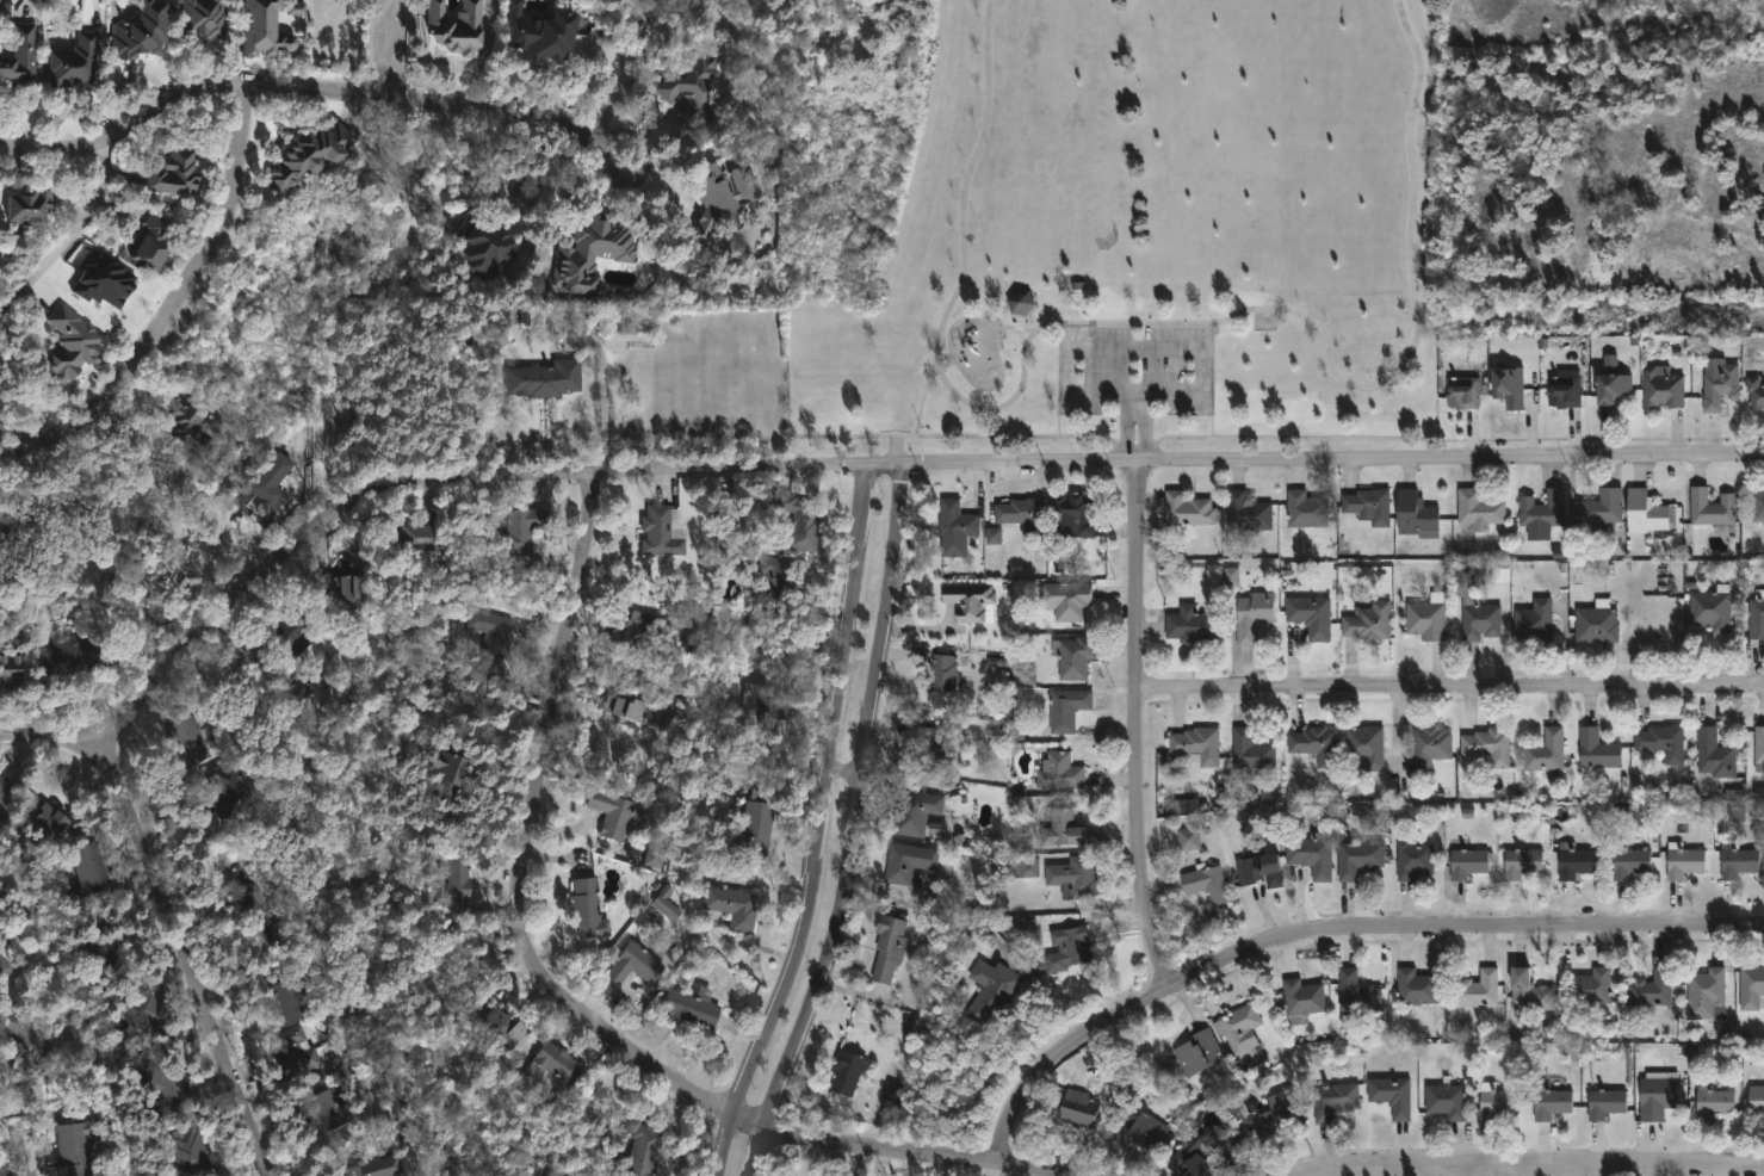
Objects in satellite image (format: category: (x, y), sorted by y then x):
building: (296, 8)
building: (212, 18)
building: (462, 25)
building: (271, 27)
building: (149, 31)
building: (545, 31)
road: (385, 45)
building: (26, 55)
building: (83, 61)
building: (691, 75)
road: (437, 95)
building: (698, 112)
road: (126, 118)
building: (317, 153)
road: (651, 168)
building: (184, 172)
building: (717, 194)
building: (41, 204)
park: (1149, 230)
road: (81, 234)
building: (162, 241)
building: (493, 245)
building: (599, 248)
building: (104, 280)
building: (1017, 302)
road: (182, 304)
road: (1157, 326)
building: (80, 342)
parking lot: (1135, 369)
building: (550, 379)
building: (1506, 386)
building: (1719, 386)
building: (1661, 388)
building: (1609, 389)
building: (1561, 390)
road: (1134, 392)
building: (1461, 392)
building: (1754, 394)
road: (606, 397)
building: (197, 423)
road: (836, 463)
building: (267, 489)
building: (1367, 506)
building: (1710, 508)
building: (1757, 508)
building: (1599, 509)
building: (1304, 510)
building: (1477, 510)
building: (1541, 510)
building: (1186, 512)
building: (1071, 513)
building: (1245, 513)
building: (1646, 513)
building: (1415, 515)
building: (797, 516)
building: (1021, 516)
building: (524, 527)
building: (953, 530)
building: (663, 532)
building: (994, 537)
building: (416, 539)
building: (1231, 577)
building: (770, 584)
building: (348, 587)
building: (1067, 601)
building: (968, 604)
building: (1473, 606)
building: (1709, 611)
building: (1251, 617)
building: (1308, 617)
building: (1756, 617)
building: (1425, 619)
building: (1595, 620)
building: (631, 623)
building: (1368, 623)
building: (1531, 623)
building: (1189, 625)
building: (496, 632)
building: (292, 633)
building: (85, 652)
building: (1072, 657)
building: (16, 668)
building: (939, 675)
building: (1027, 677)
road: (1452, 687)
building: (303, 693)
building: (766, 704)
building: (633, 708)
building: (1064, 710)
road: (1140, 724)
building: (192, 741)
building: (1660, 743)
building: (1195, 745)
building: (1313, 745)
building: (1364, 747)
building: (1428, 747)
building: (1486, 747)
building: (1758, 750)
building: (1249, 751)
building: (1543, 753)
building: (1596, 753)
building: (1713, 755)
building: (933, 757)
building: (459, 774)
building: (1058, 774)
building: (4, 788)
building: (233, 801)
building: (1737, 804)
building: (618, 813)
building: (915, 815)
building: (55, 819)
road: (853, 825)
building: (753, 827)
road: (822, 827)
building: (1059, 831)
building: (1187, 840)
building: (655, 855)
building: (1310, 858)
building: (1356, 859)
building: (1411, 860)
building: (905, 862)
building: (1572, 862)
building: (1627, 862)
building: (1682, 862)
building: (1519, 864)
building: (1737, 864)
building: (94, 865)
building: (1467, 865)
building: (1023, 868)
building: (1257, 872)
building: (464, 878)
building: (1071, 878)
building: (1203, 883)
building: (667, 903)
building: (728, 905)
building: (593, 909)
building: (267, 914)
road: (1332, 926)
building: (1069, 942)
building: (886, 947)
building: (110, 949)
road: (186, 949)
building: (6, 960)
building: (636, 964)
building: (1590, 986)
building: (1750, 986)
building: (1415, 988)
building: (1706, 988)
building: (1648, 989)
building: (1528, 990)
building: (1474, 991)
building: (1355, 992)
building: (989, 994)
road: (567, 998)
building: (293, 1001)
building: (1300, 1001)
building: (687, 1008)
building: (148, 1020)
building: (508, 1028)
building: (1237, 1028)
building: (24, 1030)
building: (301, 1047)
building: (1195, 1052)
building: (557, 1064)
building: (843, 1071)
building: (174, 1084)
building: (893, 1093)
building: (1389, 1095)
building: (1549, 1097)
building: (1655, 1097)
building: (1444, 1100)
building: (1756, 1100)
building: (1330, 1101)
building: (1493, 1101)
building: (1604, 1102)
building: (1712, 1103)
building: (1077, 1107)
building: (332, 1110)
building: (1279, 1114)
building: (1139, 1133)
building: (81, 1147)
building: (645, 1147)
building: (197, 1151)
building: (1184, 1156)
road: (4, 1158)
building: (382, 1166)
road: (1543, 1170)

